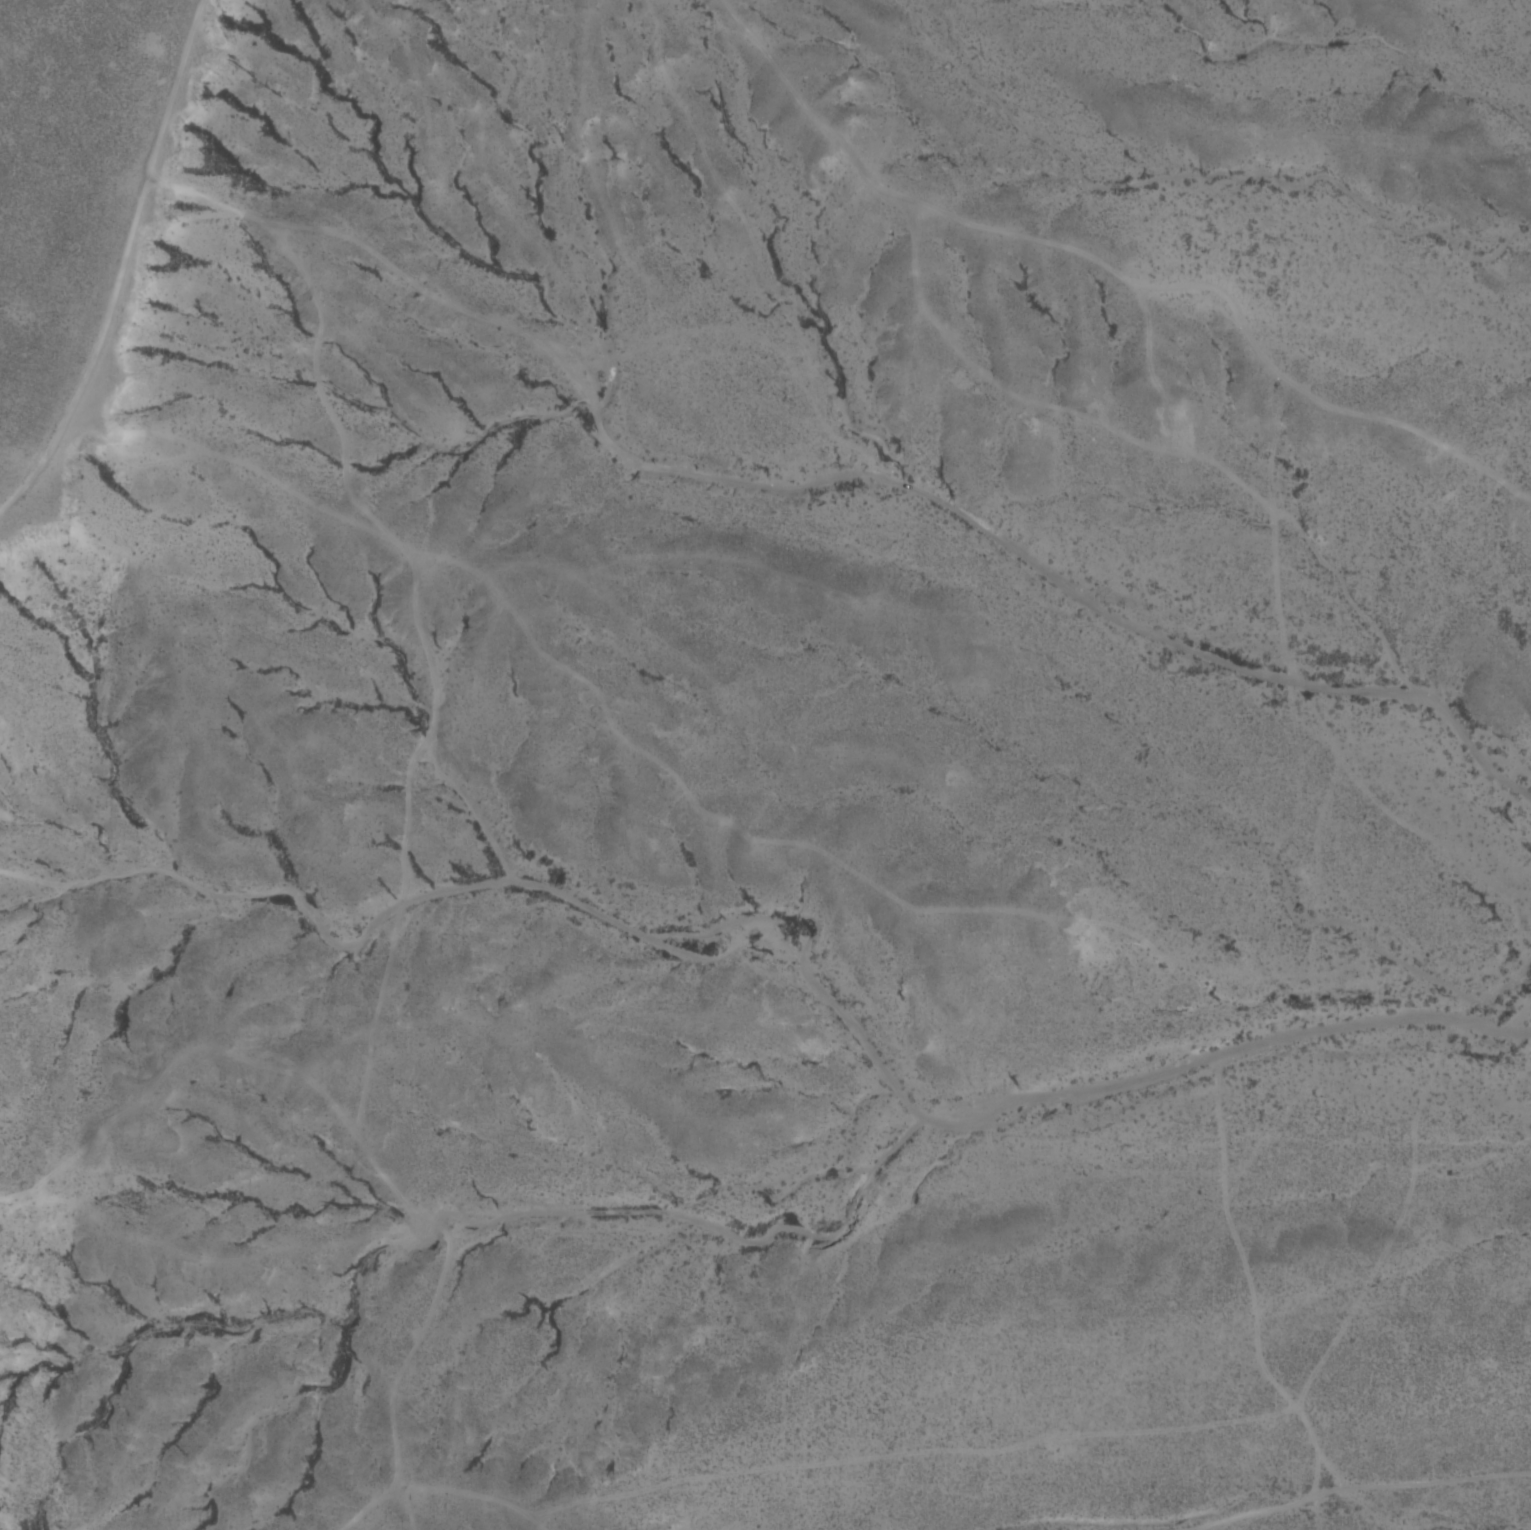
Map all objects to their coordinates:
road: (127, 266)

